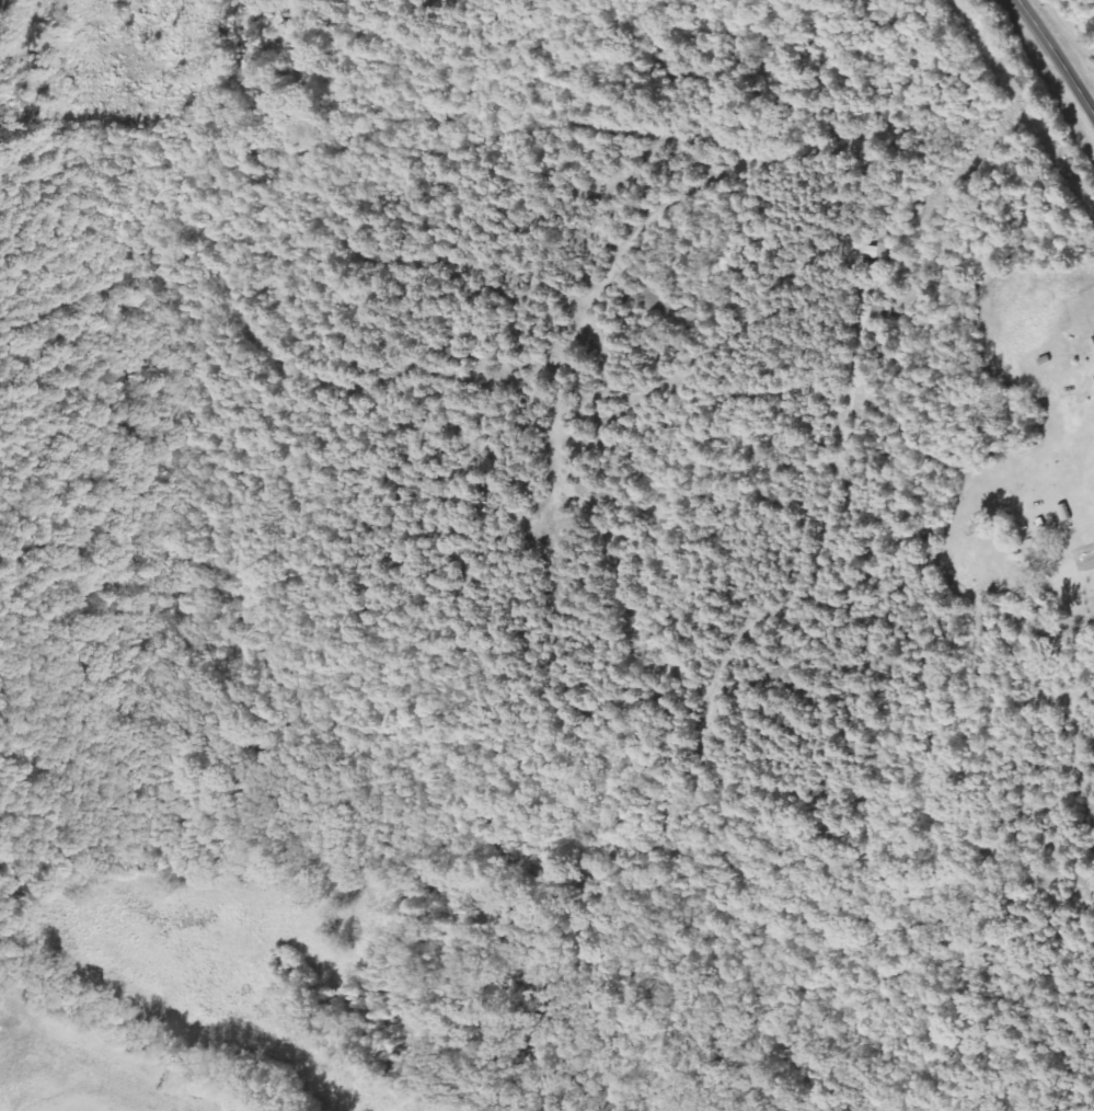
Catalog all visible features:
road: (1057, 54)
building: (882, 251)

